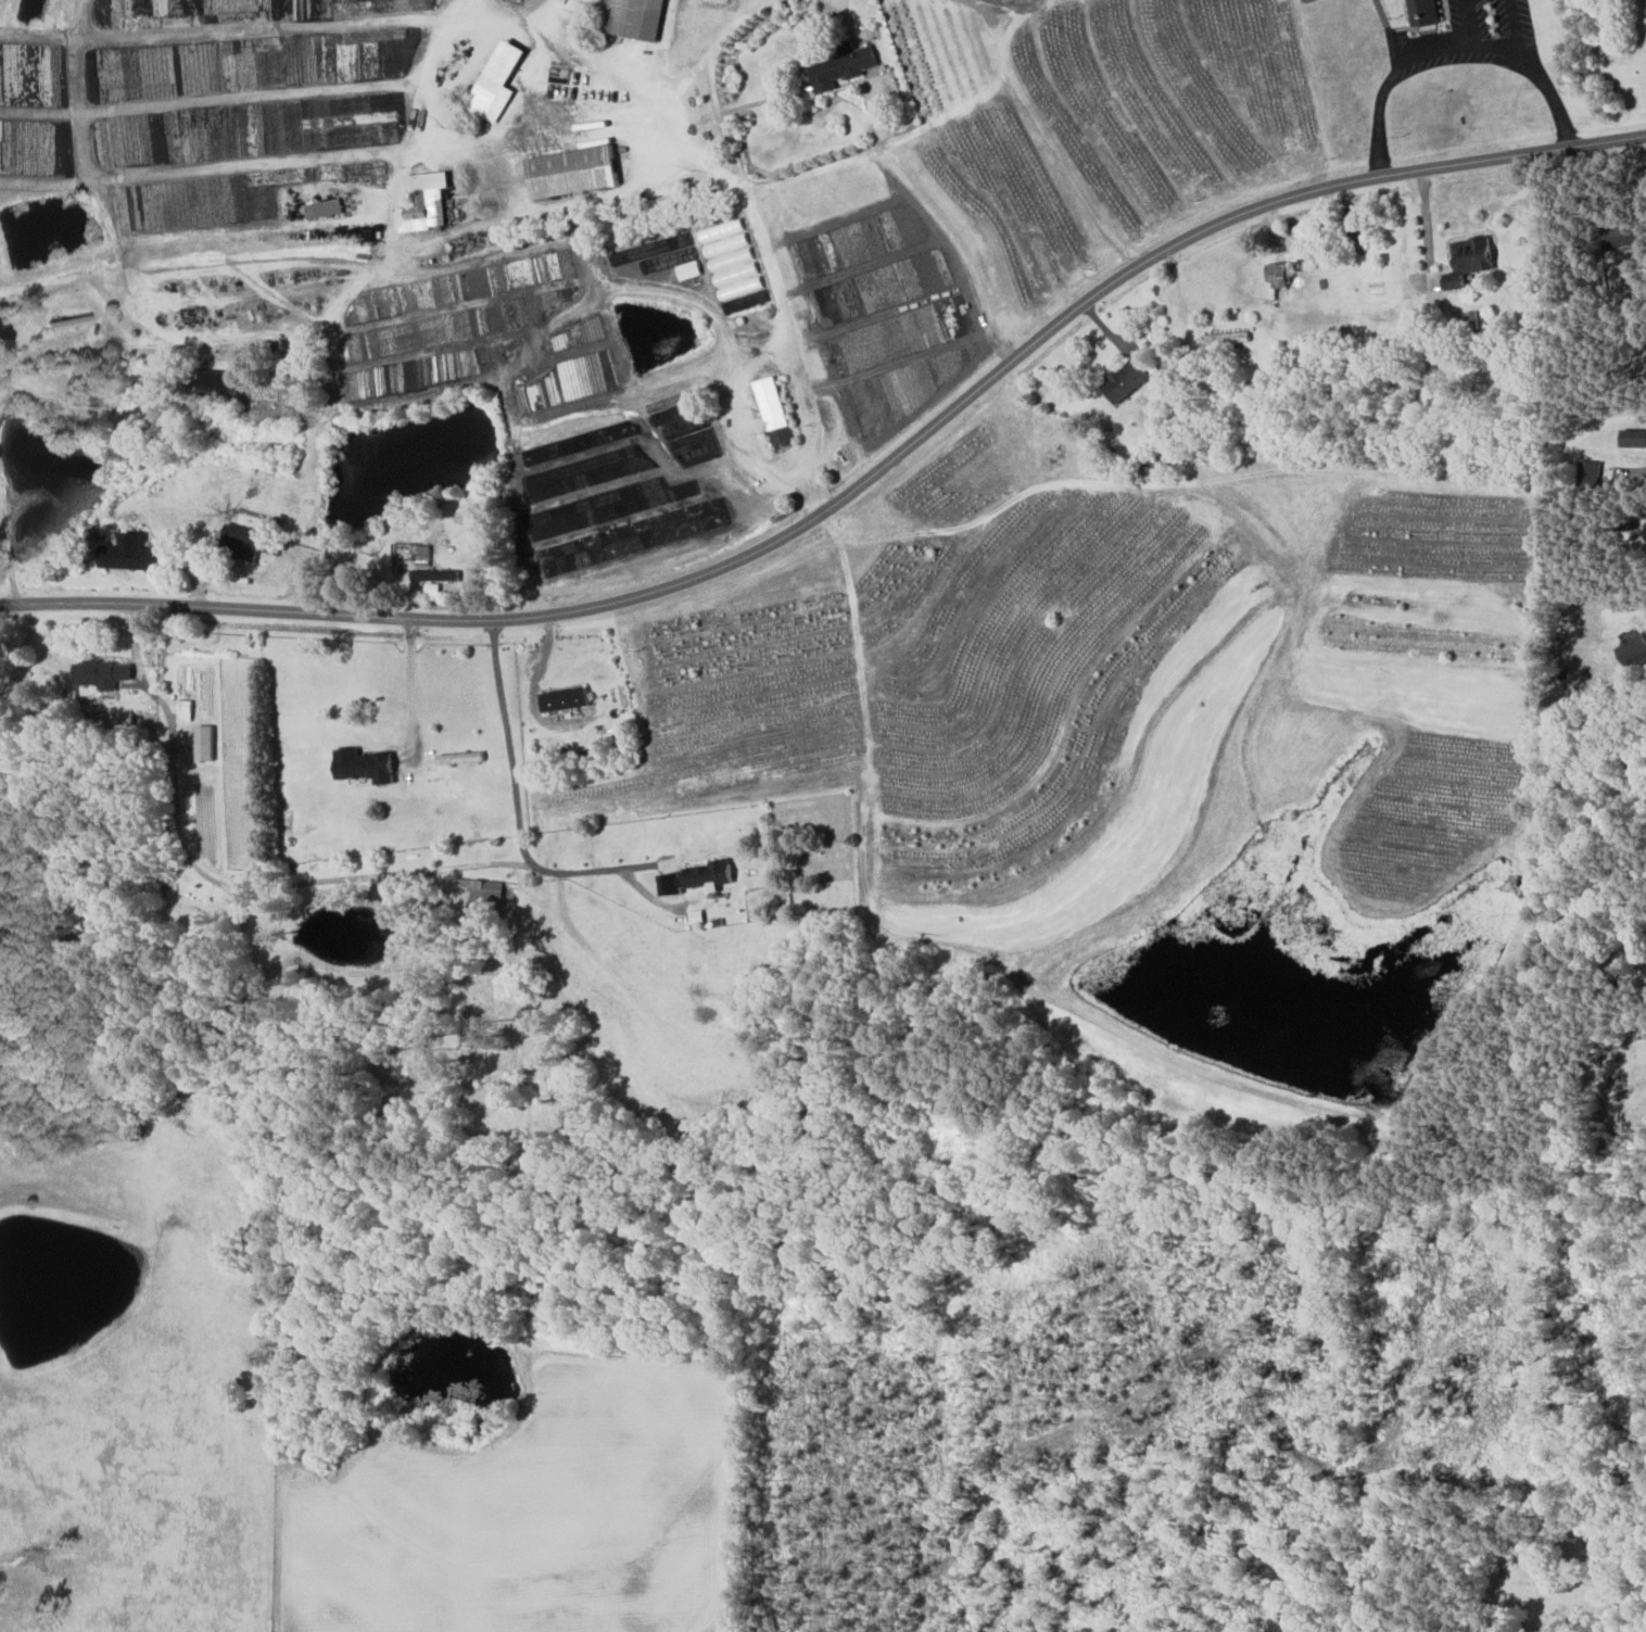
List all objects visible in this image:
road: (999, 3)
building: (1422, 12)
road: (846, 14)
building: (632, 17)
road: (554, 21)
road: (1464, 23)
road: (1516, 25)
road: (1452, 47)
road: (580, 61)
building: (840, 65)
road: (436, 67)
road: (710, 76)
building: (495, 81)
road: (488, 142)
road: (890, 153)
road: (850, 160)
road: (1064, 166)
road: (214, 167)
building: (571, 170)
building: (422, 202)
building: (322, 207)
road: (227, 220)
road: (1427, 225)
building: (1354, 228)
building: (1622, 237)
building: (730, 258)
building: (1468, 260)
building: (687, 269)
building: (1278, 274)
road: (671, 282)
road: (768, 346)
building: (1124, 381)
building: (773, 409)
road: (857, 488)
road: (1001, 504)
building: (239, 541)
building: (130, 554)
building: (422, 555)
road: (9, 564)
building: (429, 574)
building: (1632, 650)
building: (100, 673)
road: (411, 687)
road: (532, 688)
building: (562, 699)
building: (182, 709)
road: (507, 741)
building: (202, 743)
building: (363, 766)
road: (592, 870)
building: (695, 878)
road: (218, 882)
building: (482, 888)

